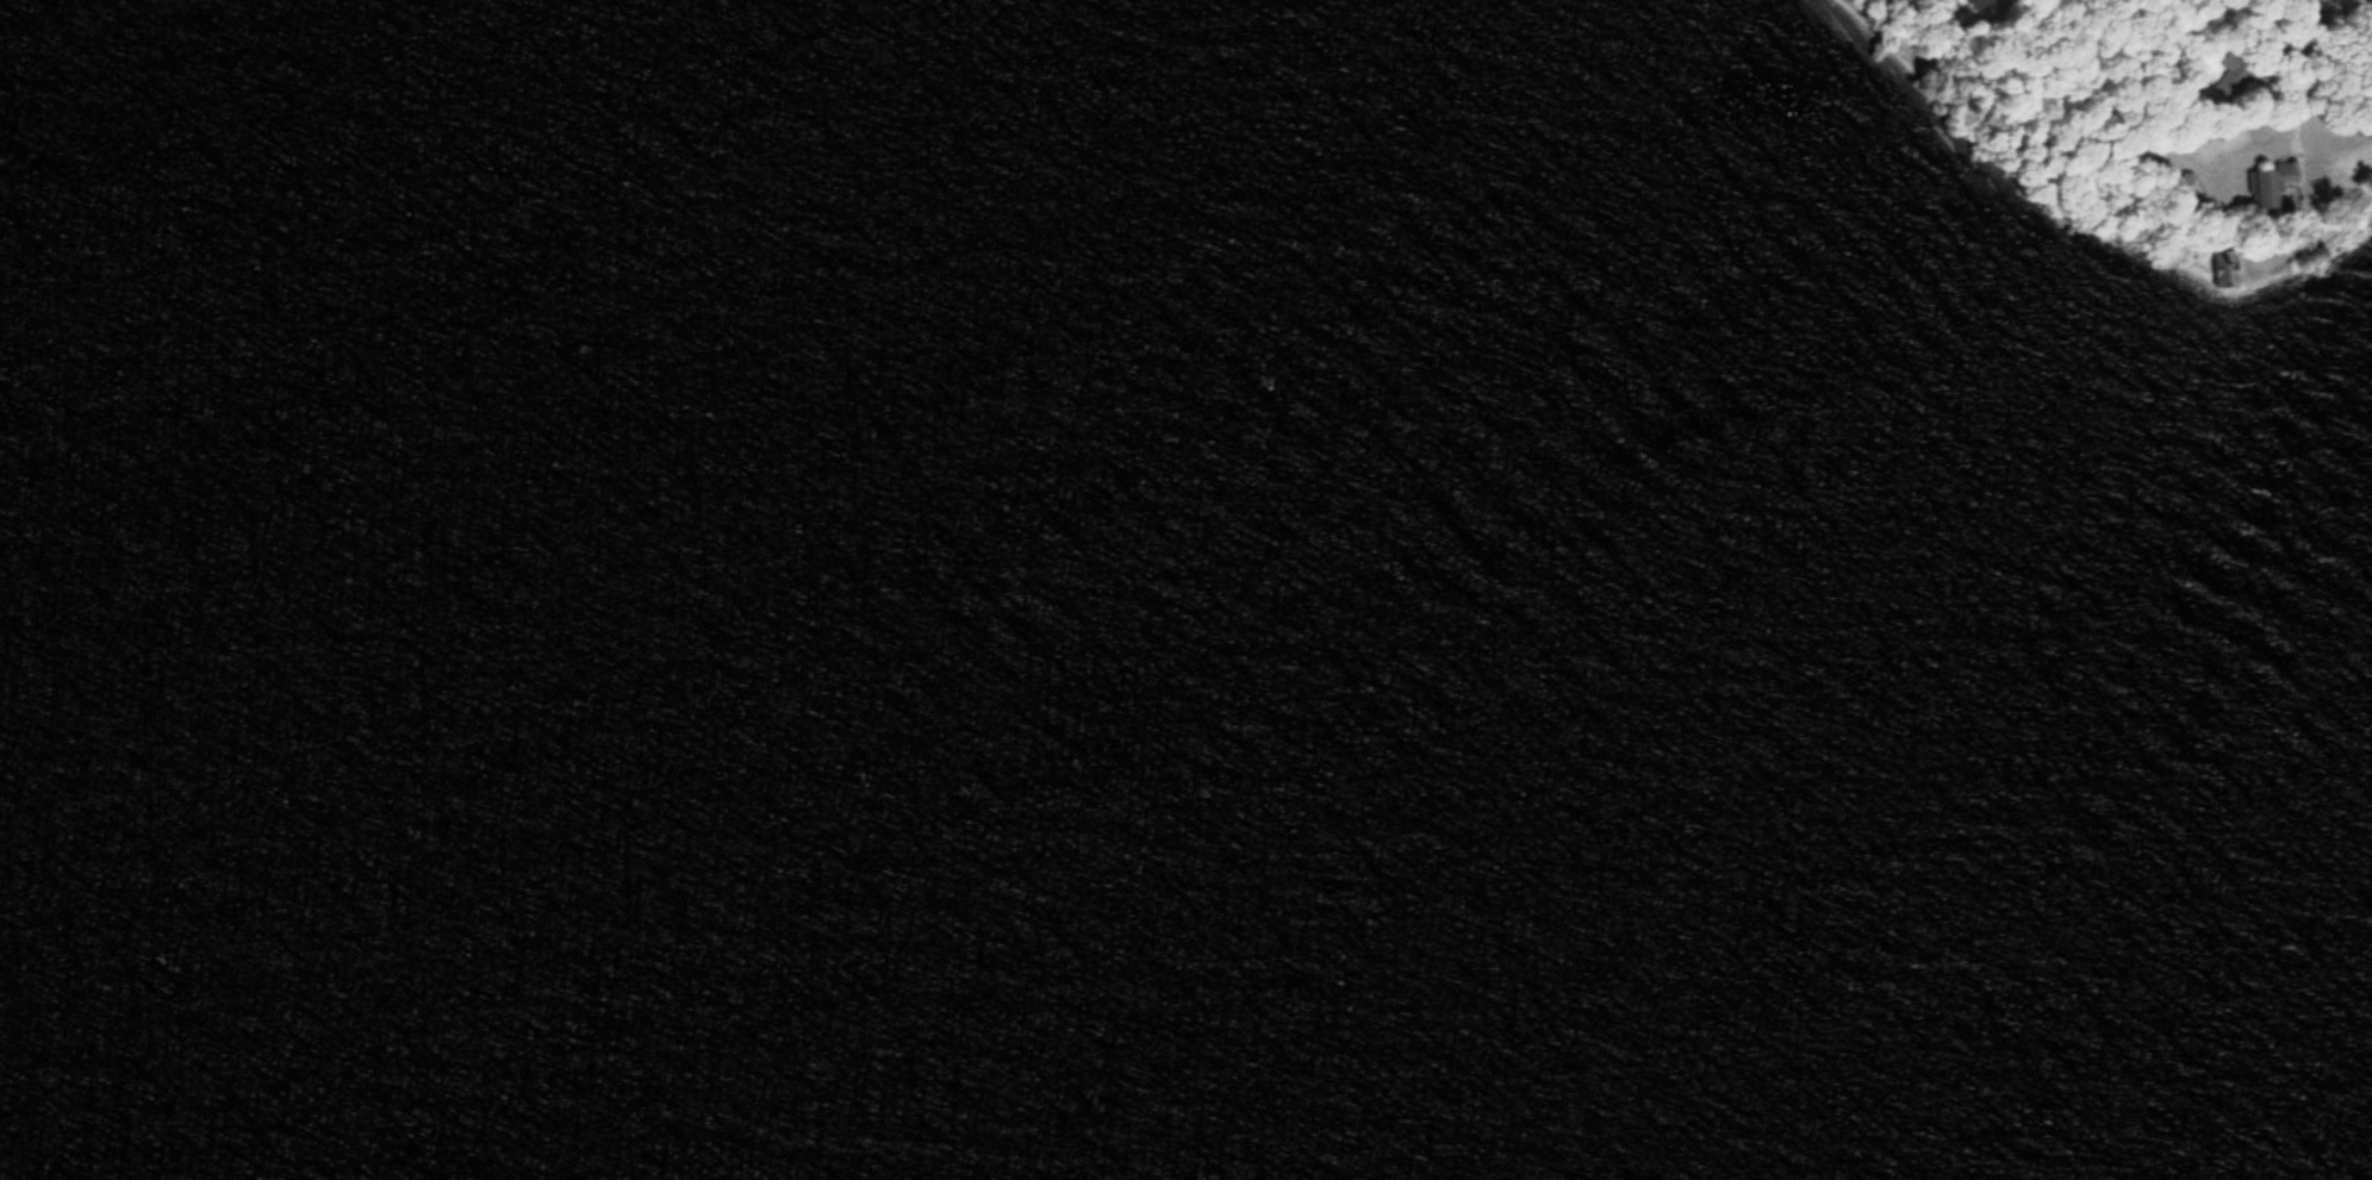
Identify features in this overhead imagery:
building: (1971, 2)
road: (2354, 2)
building: (2278, 49)
building: (2229, 73)
building: (2261, 182)
building: (2221, 264)

